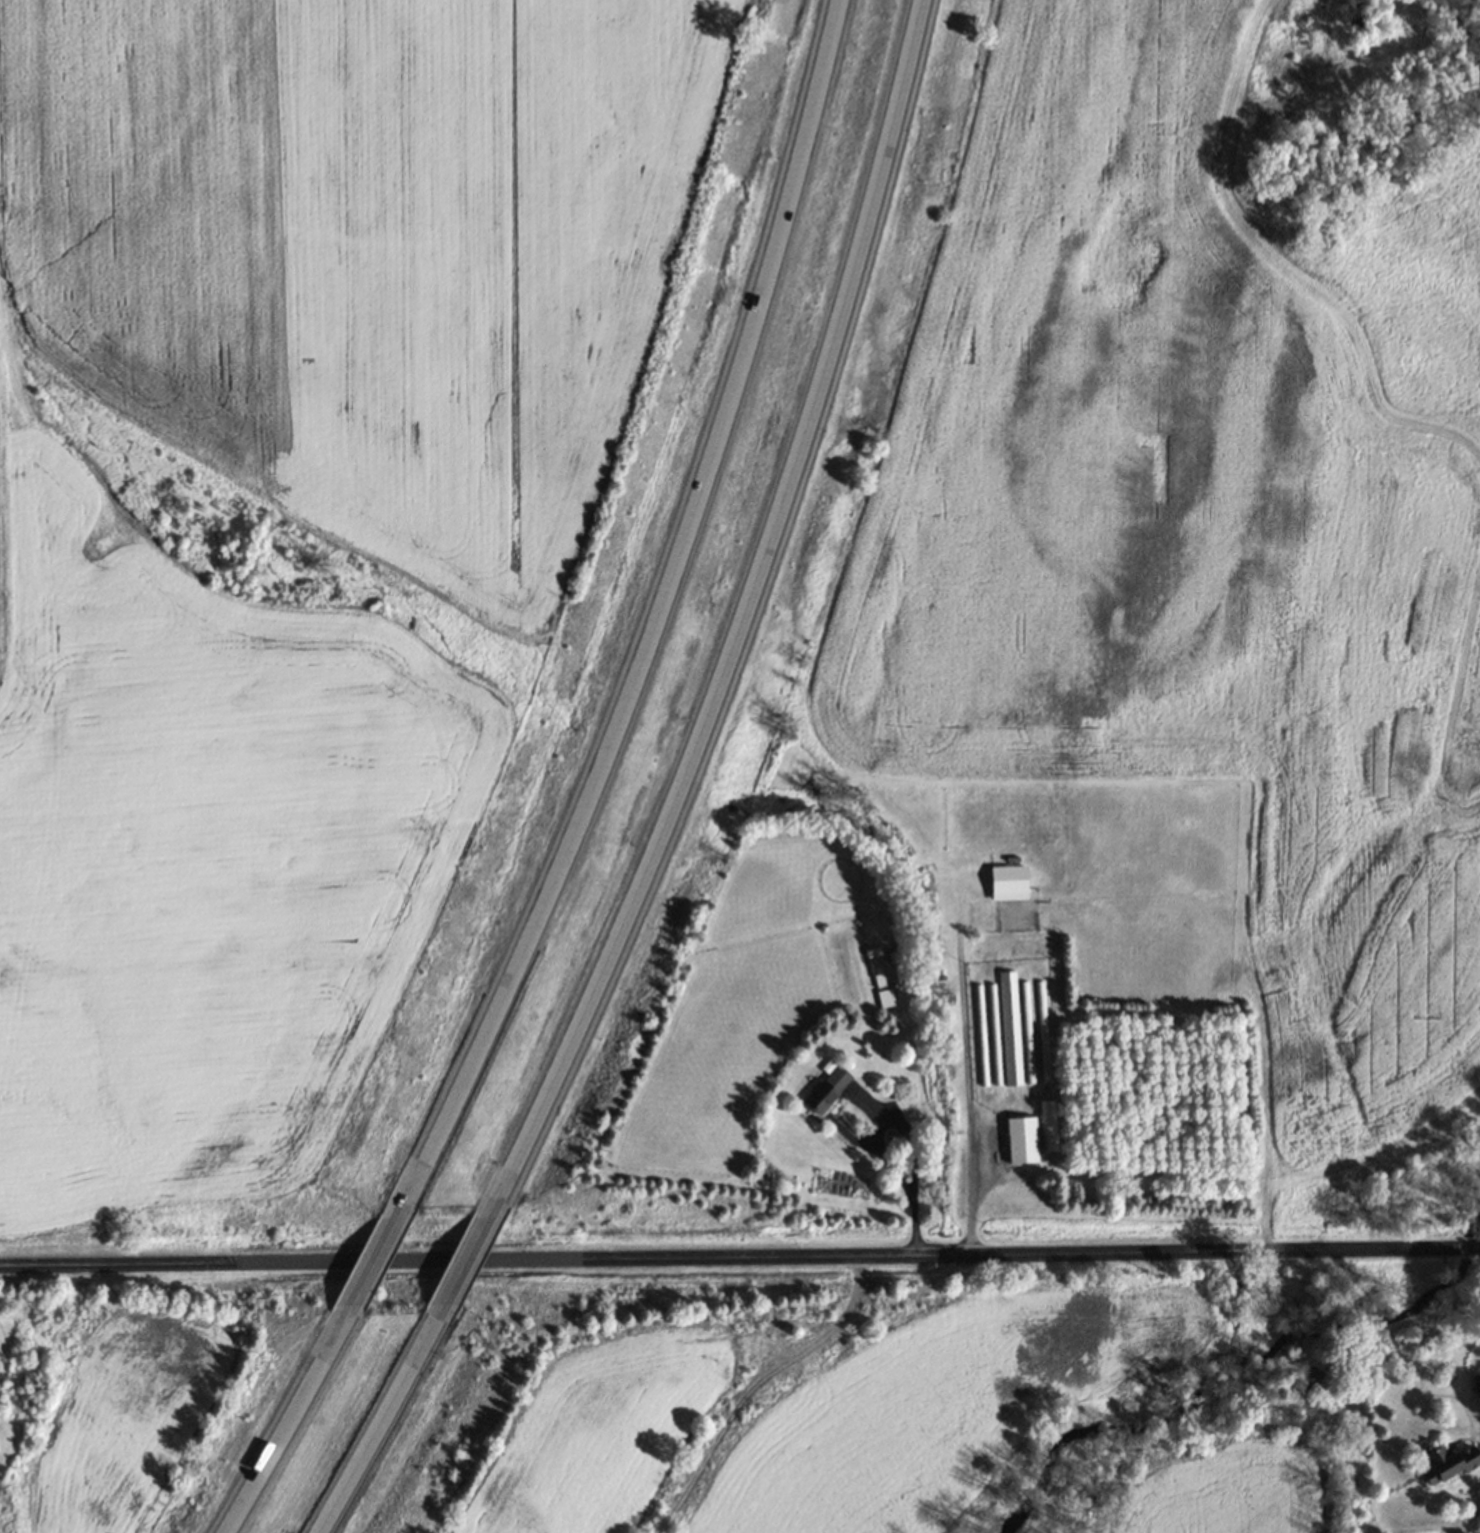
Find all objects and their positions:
road: (652, 608)
road: (752, 615)
building: (1012, 898)
building: (881, 965)
building: (1008, 1027)
building: (1042, 1031)
building: (1026, 1032)
road: (966, 1088)
building: (829, 1089)
road: (904, 1138)
building: (1023, 1140)
road: (383, 1253)
road: (740, 1255)
road: (466, 1266)
road: (1462, 1374)
road: (294, 1421)
road: (374, 1432)
building: (1450, 1464)

